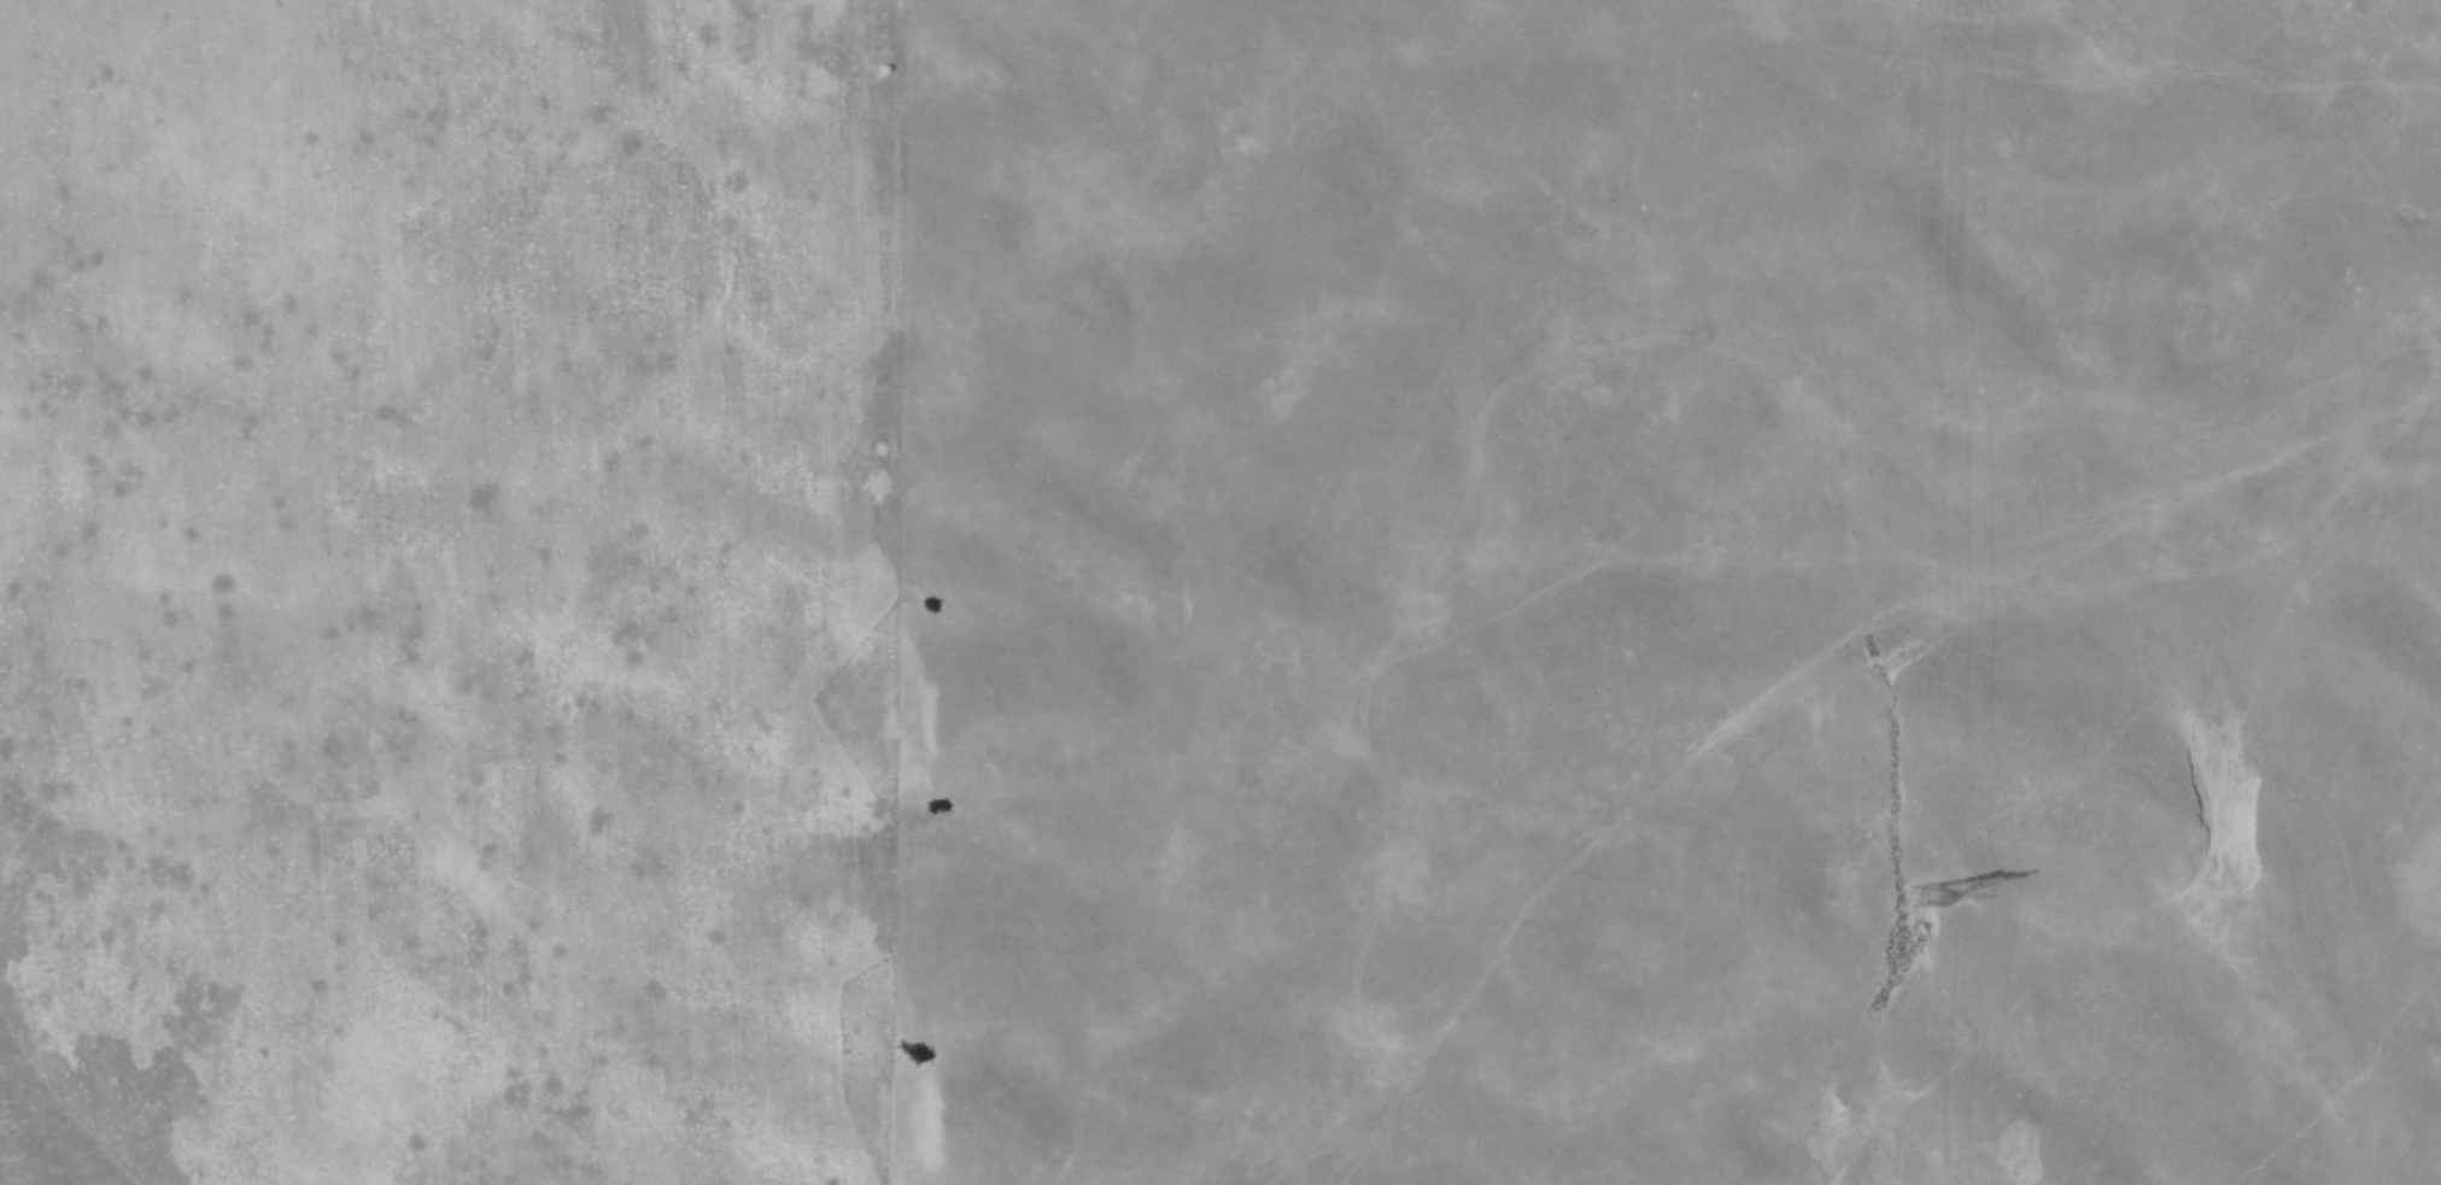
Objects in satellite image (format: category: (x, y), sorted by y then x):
power tower: (1927, 894)

